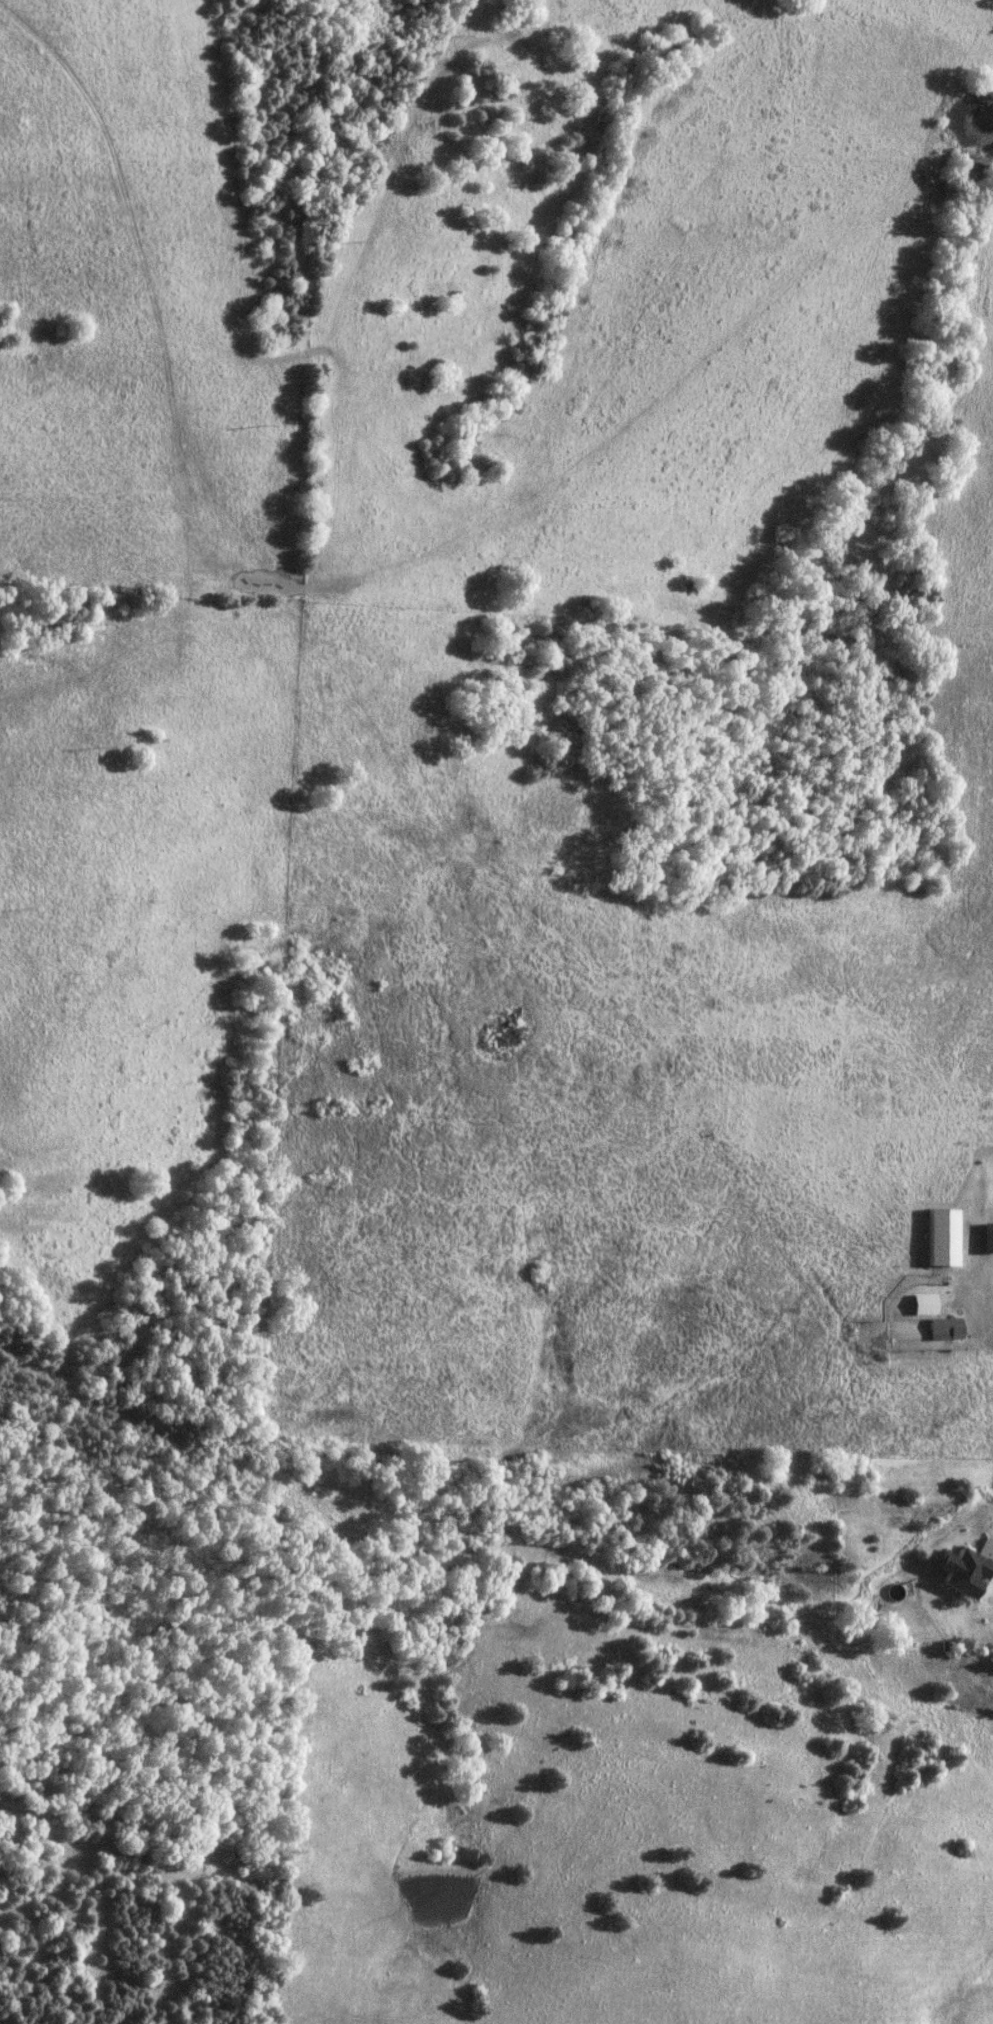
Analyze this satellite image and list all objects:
building: (969, 1229)
building: (939, 1237)
building: (985, 1237)
road: (978, 1284)
building: (921, 1304)
building: (922, 1328)
road: (992, 1535)
building: (953, 1572)

